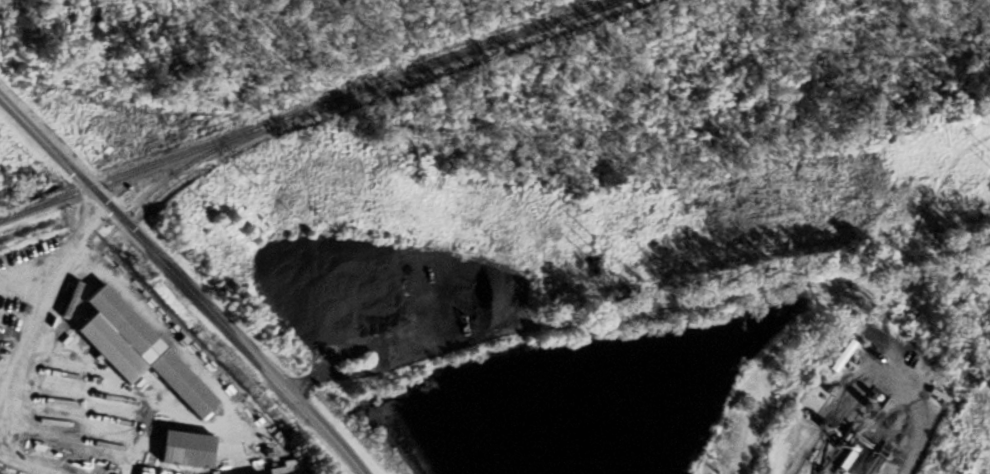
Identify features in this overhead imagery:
railway: (301, 107)
power tower: (255, 178)
railway: (127, 213)
road: (75, 238)
power tower: (590, 248)
road: (187, 280)
road: (24, 288)
road: (23, 337)
building: (872, 406)
building: (183, 450)
building: (287, 468)

